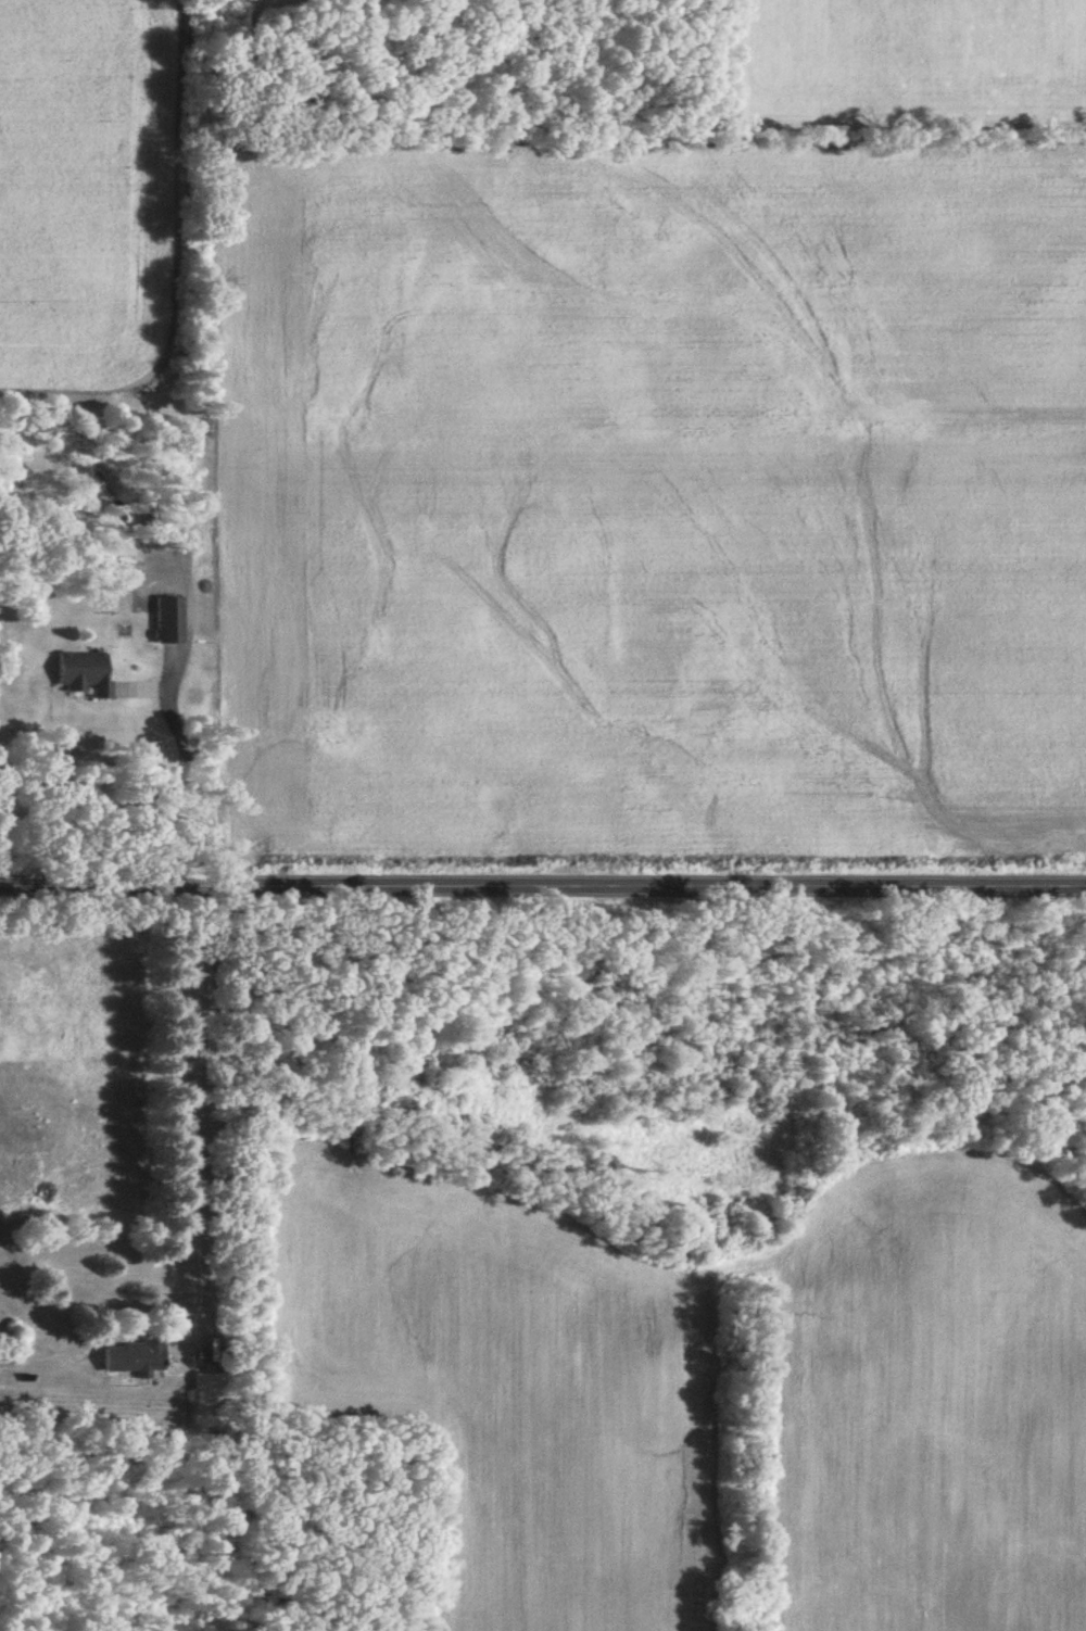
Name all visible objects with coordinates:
building: (171, 621)
building: (86, 673)
road: (166, 775)
road: (543, 882)
road: (212, 1111)
building: (136, 1358)
building: (207, 1395)

